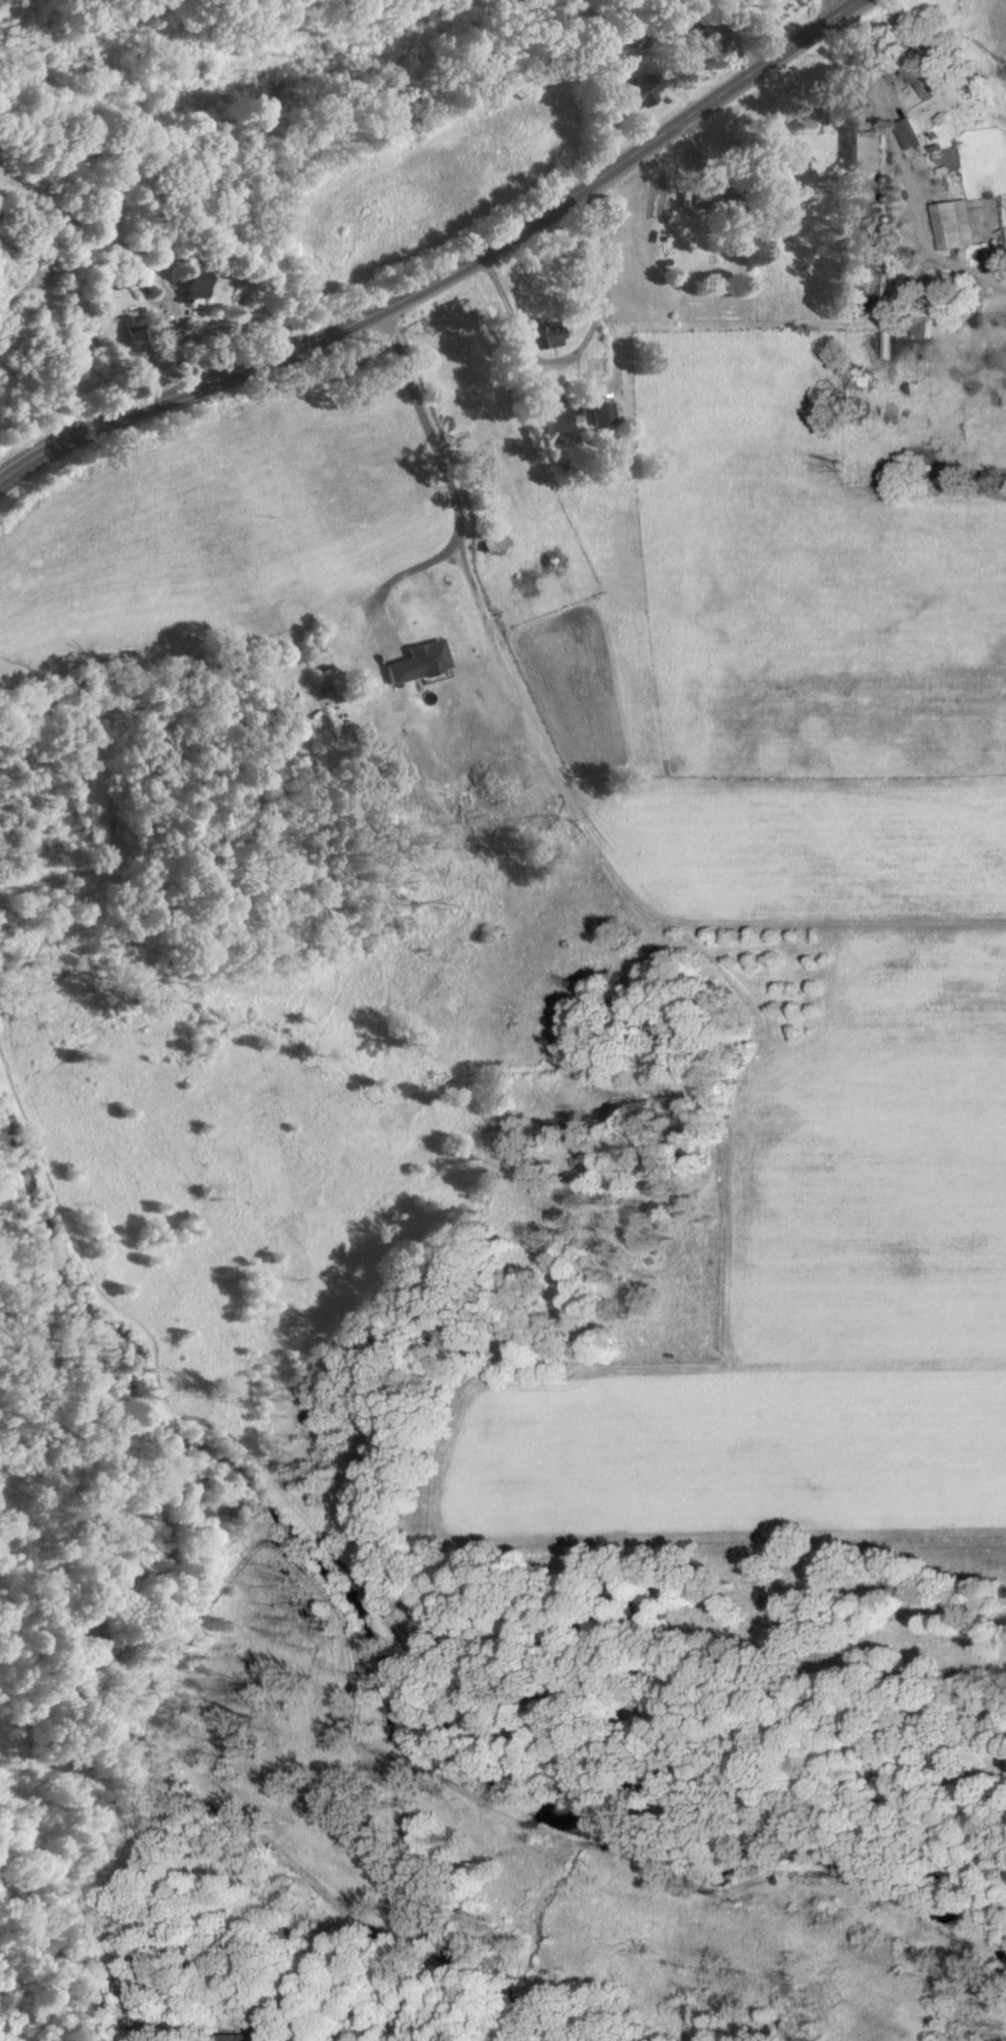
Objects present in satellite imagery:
road: (825, 15)
building: (913, 69)
building: (643, 92)
building: (907, 134)
building: (865, 152)
building: (953, 225)
road: (454, 281)
road: (217, 329)
building: (135, 334)
building: (546, 336)
road: (582, 341)
building: (603, 415)
building: (556, 419)
road: (453, 490)
building: (419, 662)

